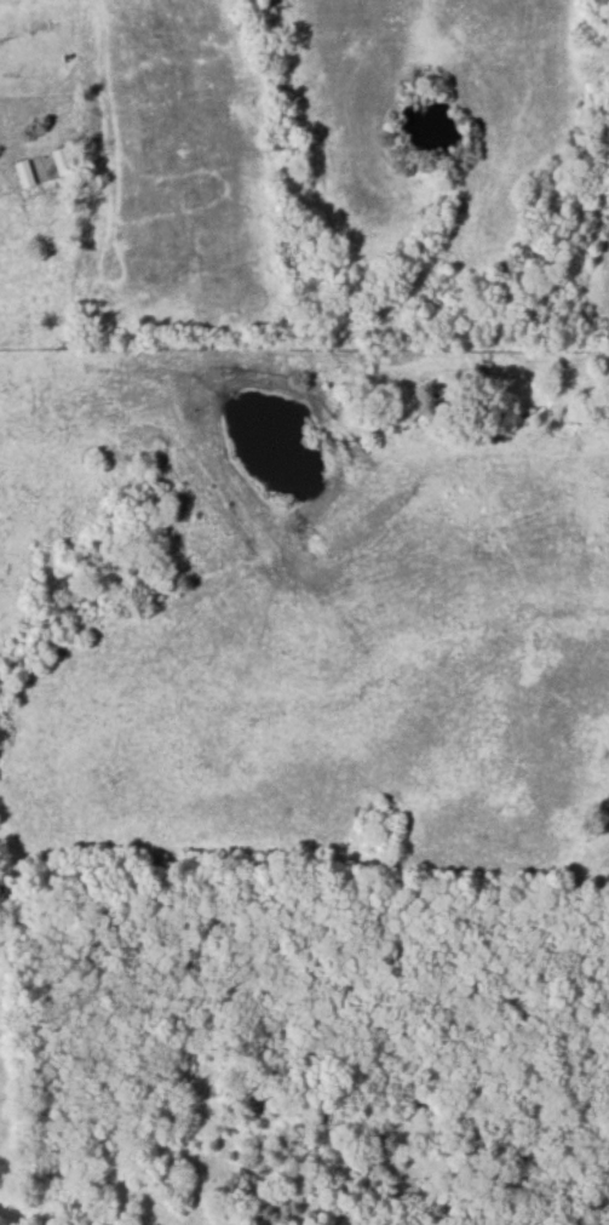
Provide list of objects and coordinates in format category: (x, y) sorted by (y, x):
building: (59, 162)
building: (22, 174)

